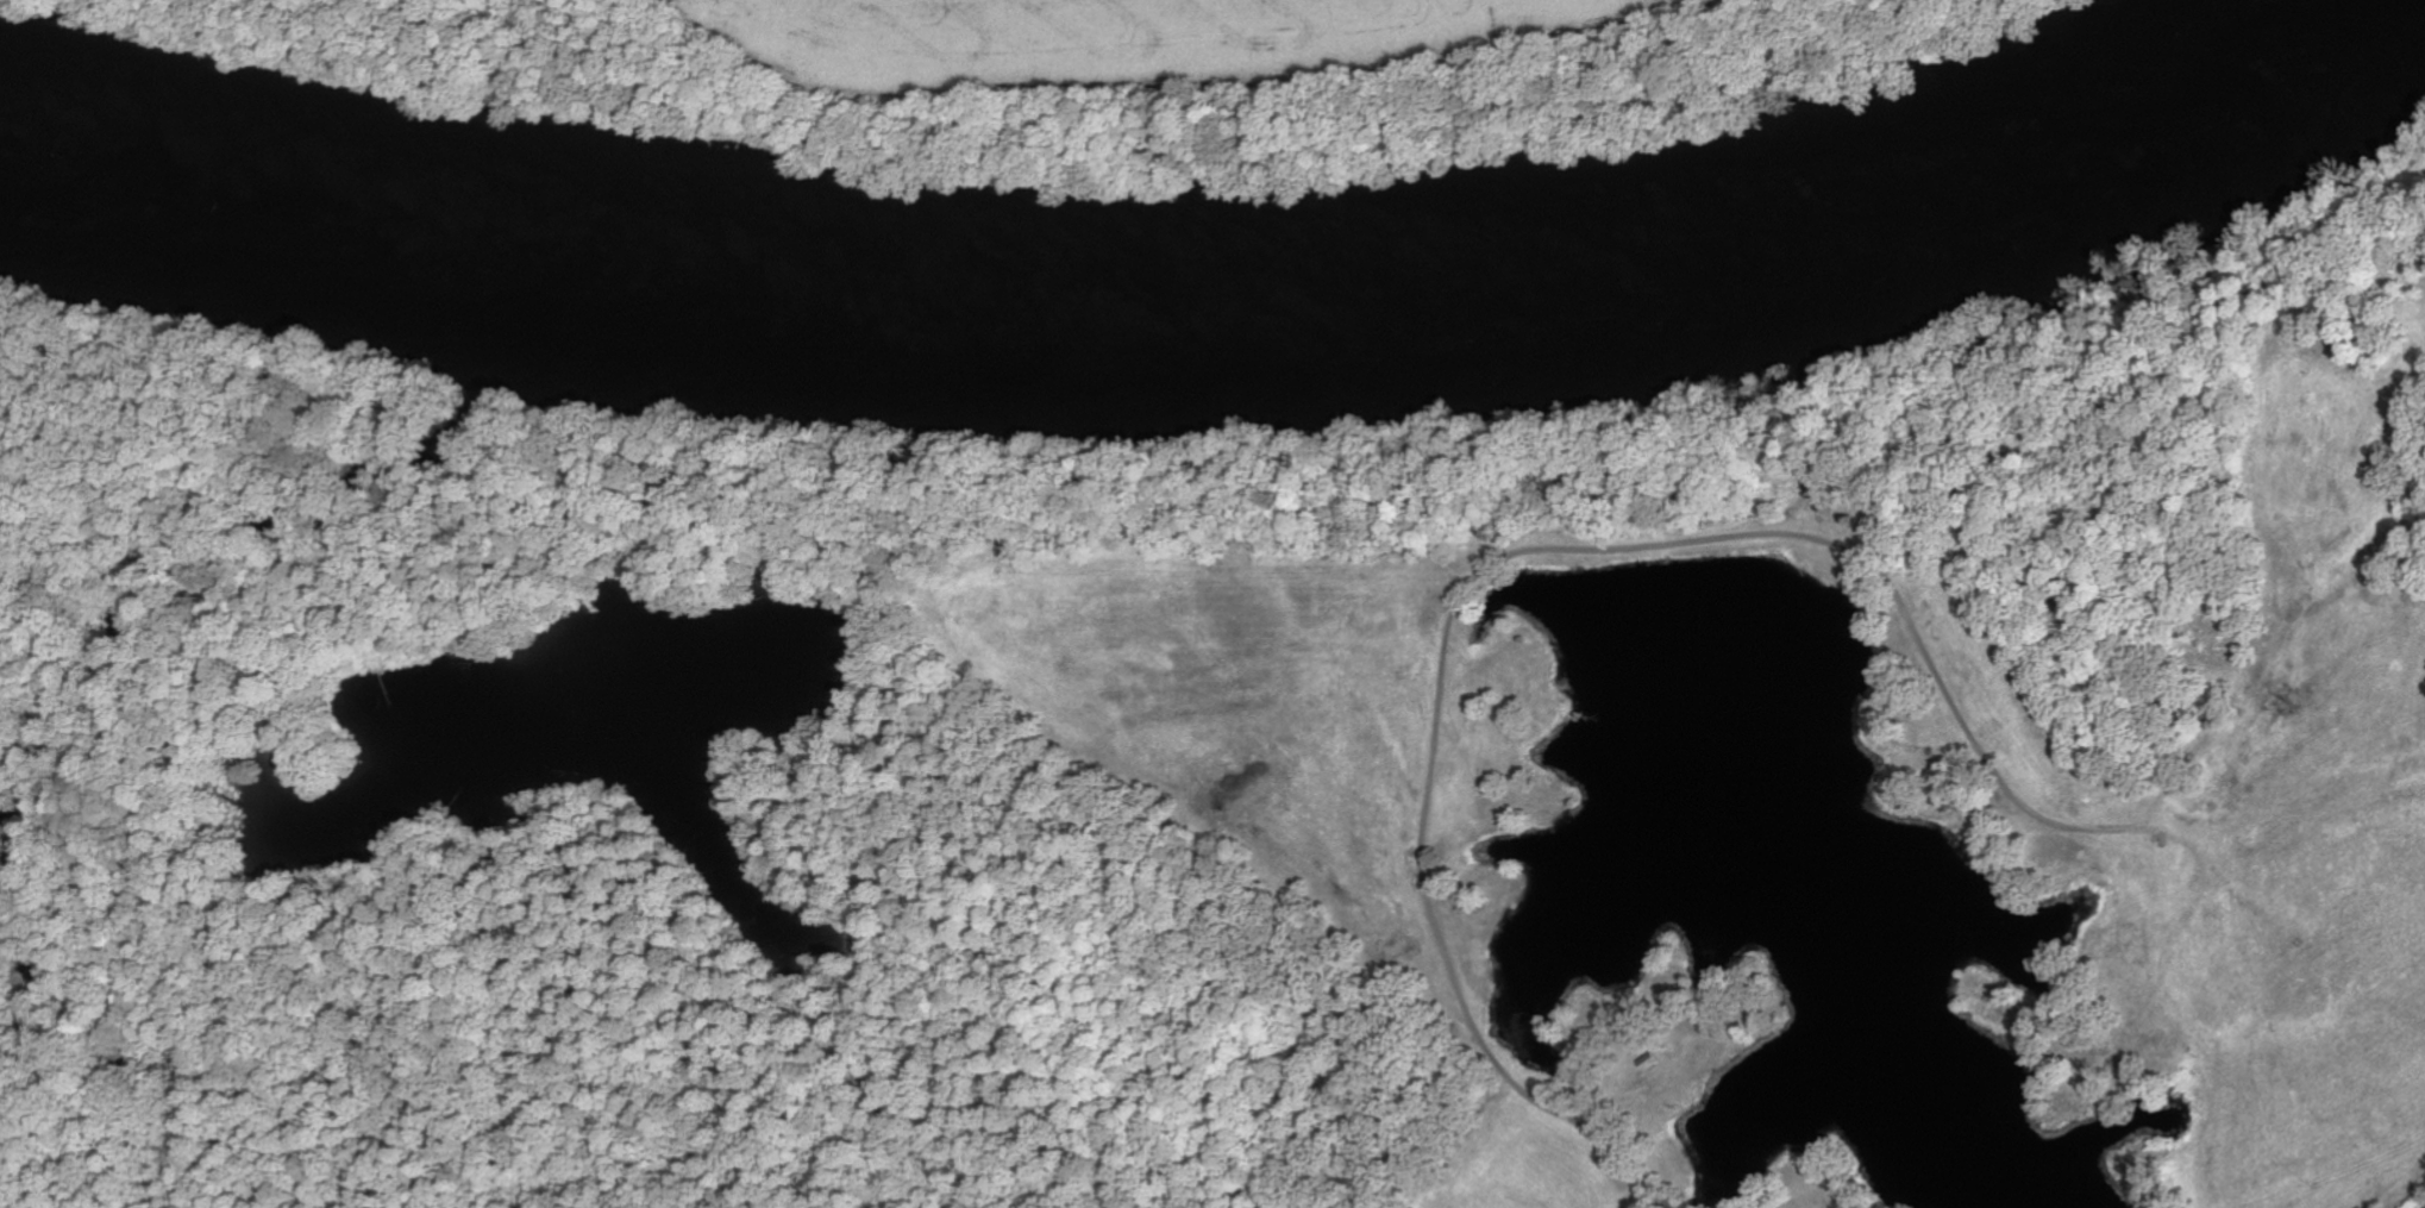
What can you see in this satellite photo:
river: (1171, 286)
road: (1466, 1013)

